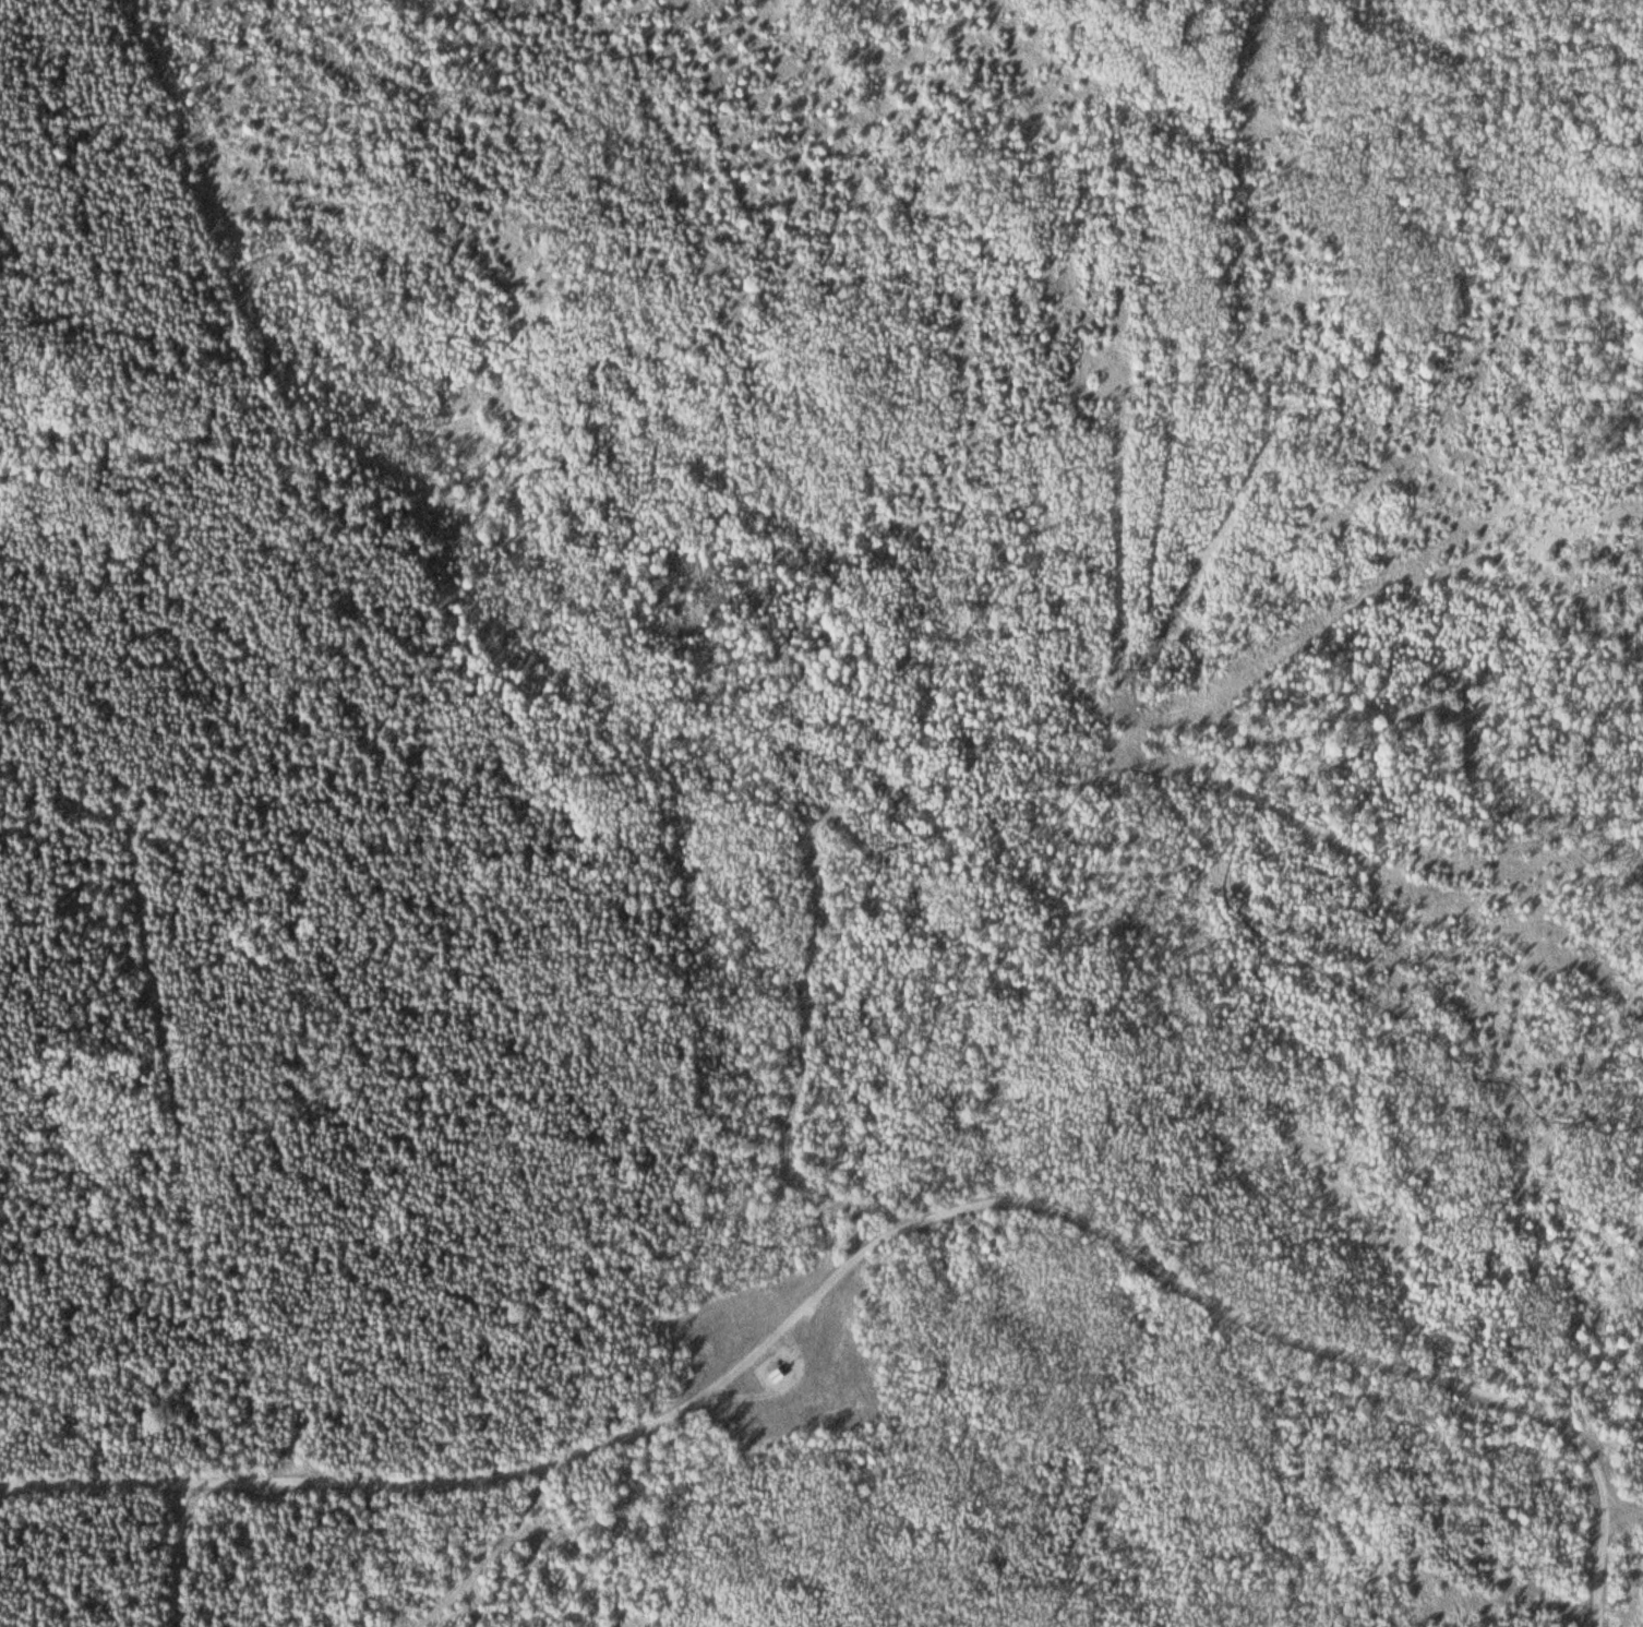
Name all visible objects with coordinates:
road: (901, 1048)
road: (889, 1241)
petroleum well: (771, 1372)
road: (490, 1559)

